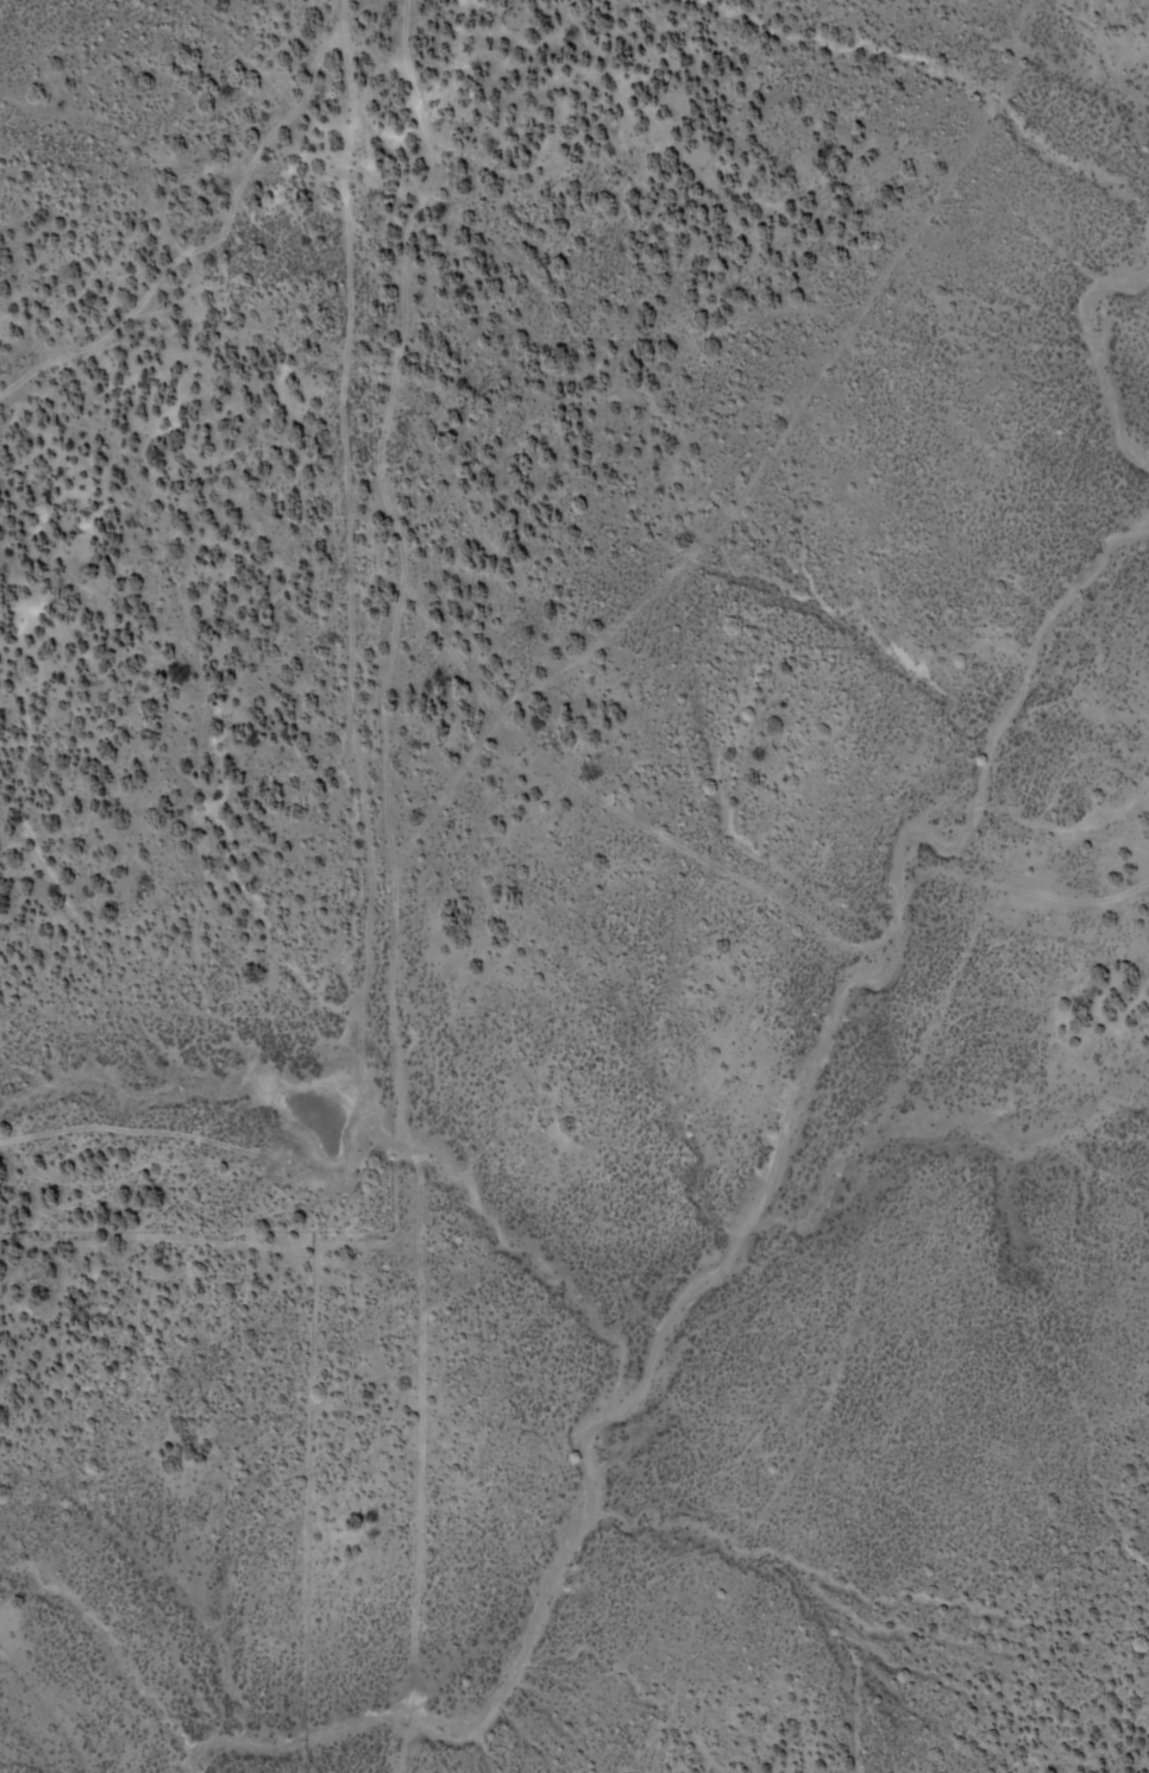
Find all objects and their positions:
road: (92, 1239)

